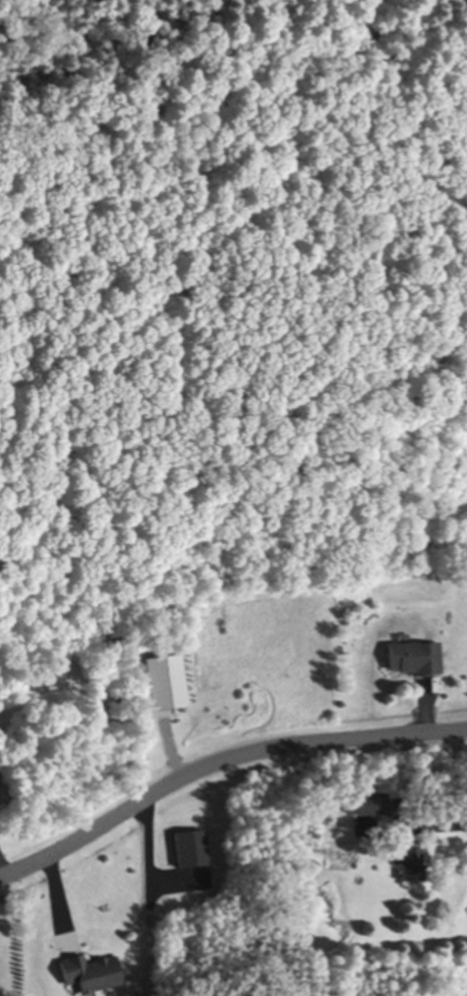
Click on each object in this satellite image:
building: (386, 414)
building: (418, 655)
building: (165, 680)
road: (220, 759)
building: (399, 800)
building: (371, 801)
road: (432, 828)
building: (193, 845)
building: (413, 862)
road: (3, 863)
building: (91, 969)

